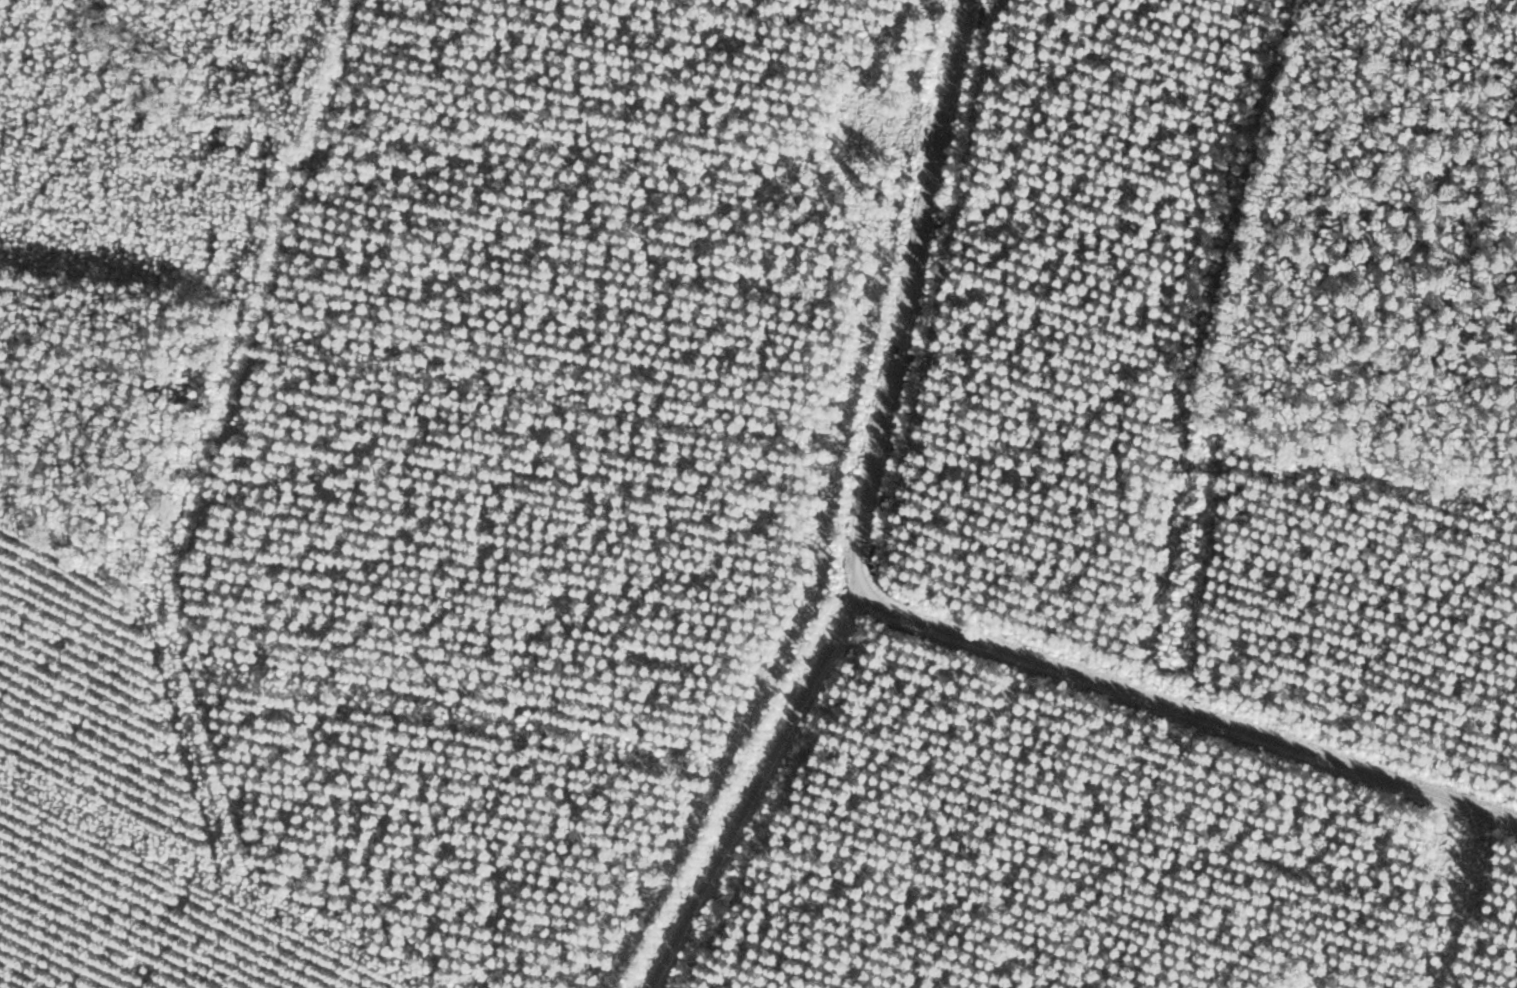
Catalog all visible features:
road: (900, 613)

